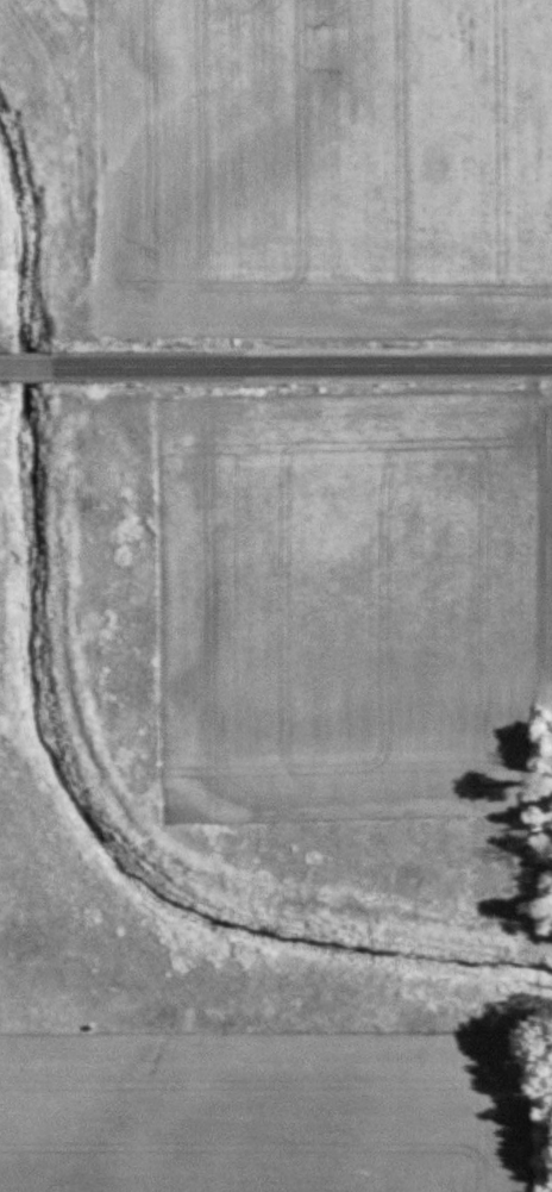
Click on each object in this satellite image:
road: (276, 364)

